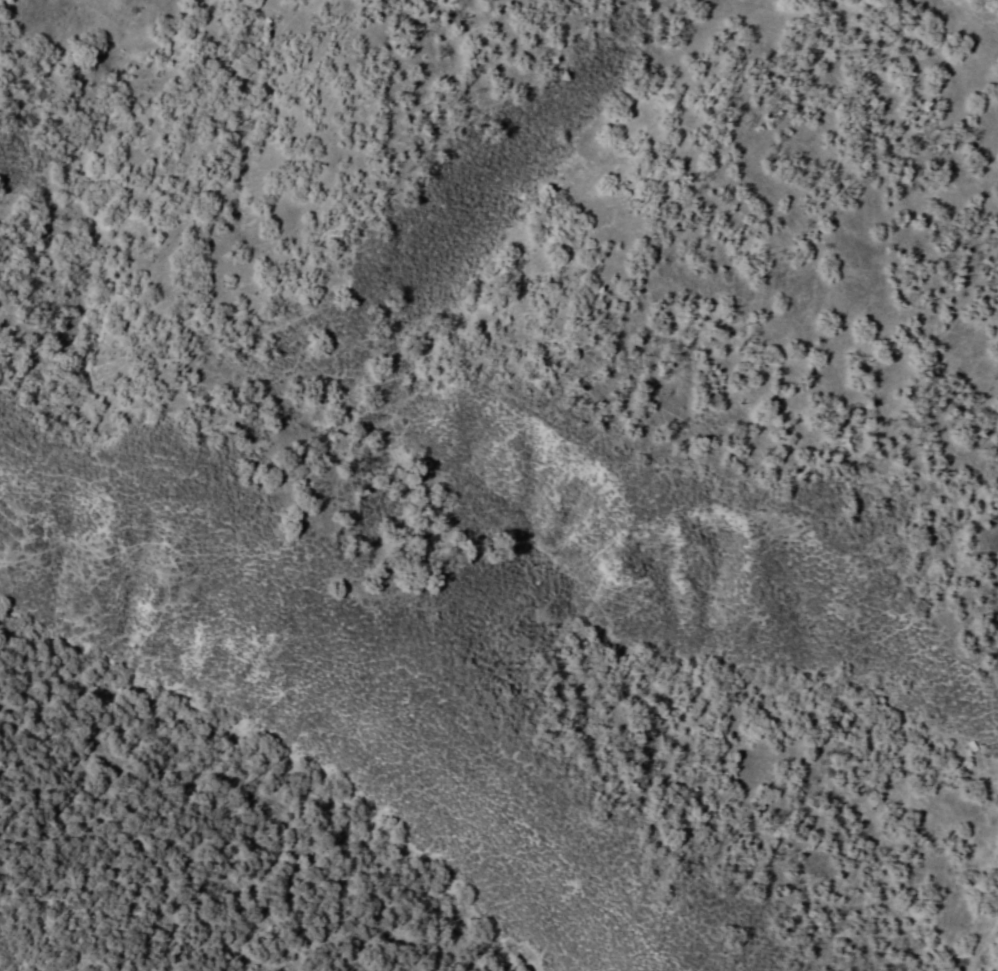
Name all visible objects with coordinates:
road: (985, 944)

